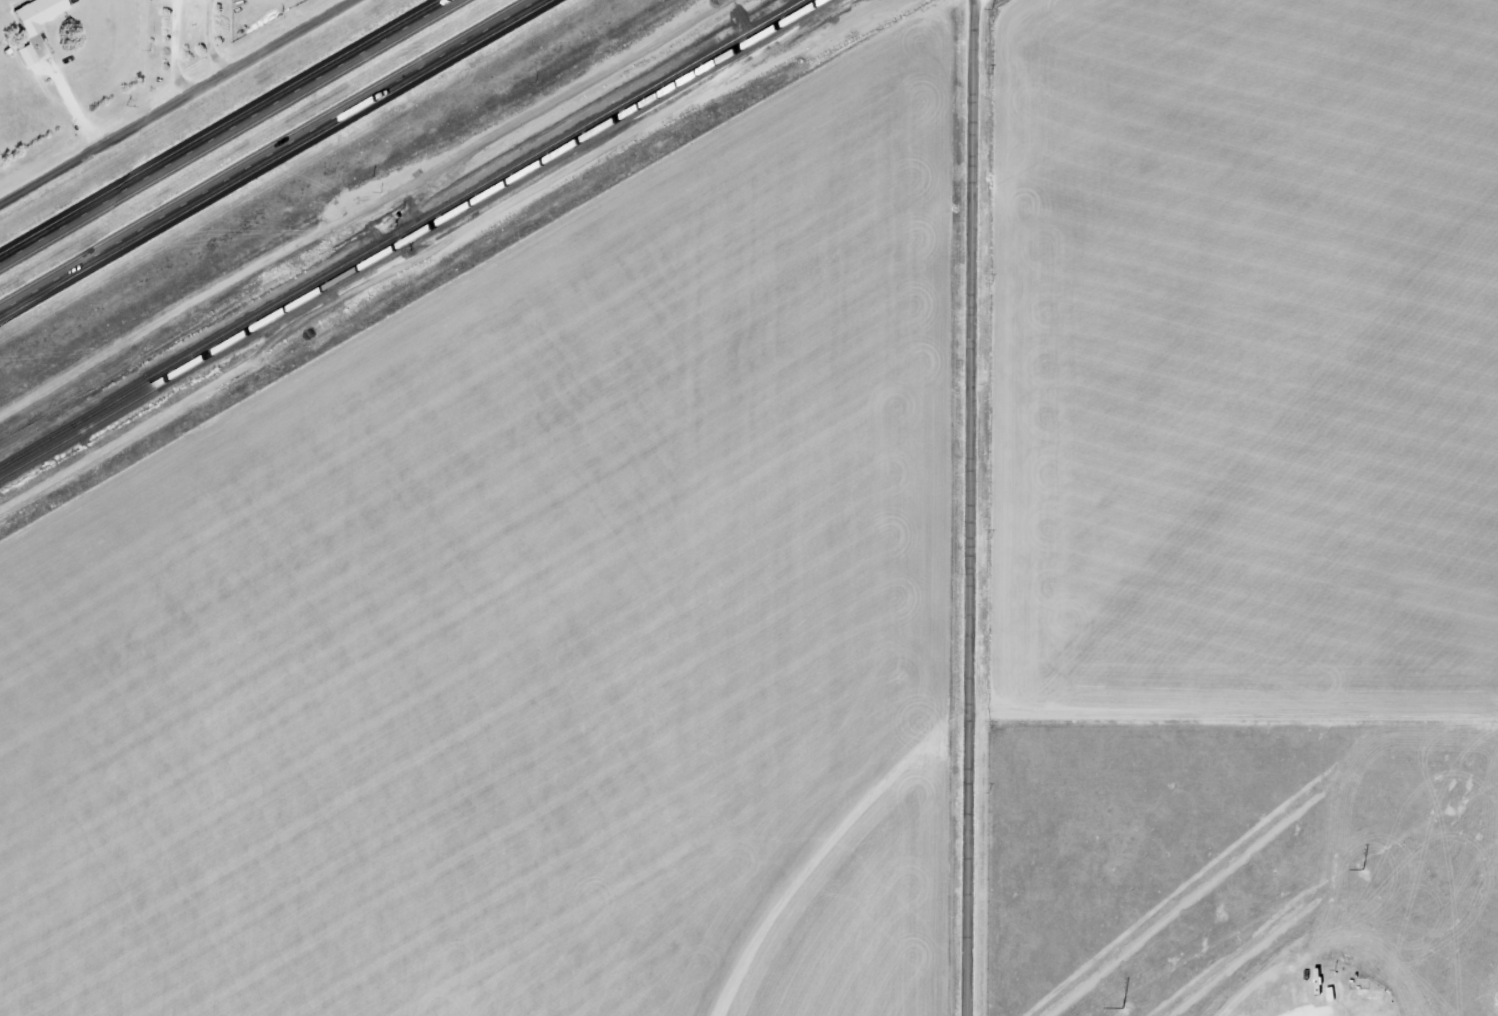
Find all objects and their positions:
building: (41, 14)
road: (177, 104)
road: (229, 131)
road: (274, 157)
railway: (404, 234)
railway: (412, 237)
road: (970, 507)
power tower: (1491, 798)
power tower: (1236, 943)

